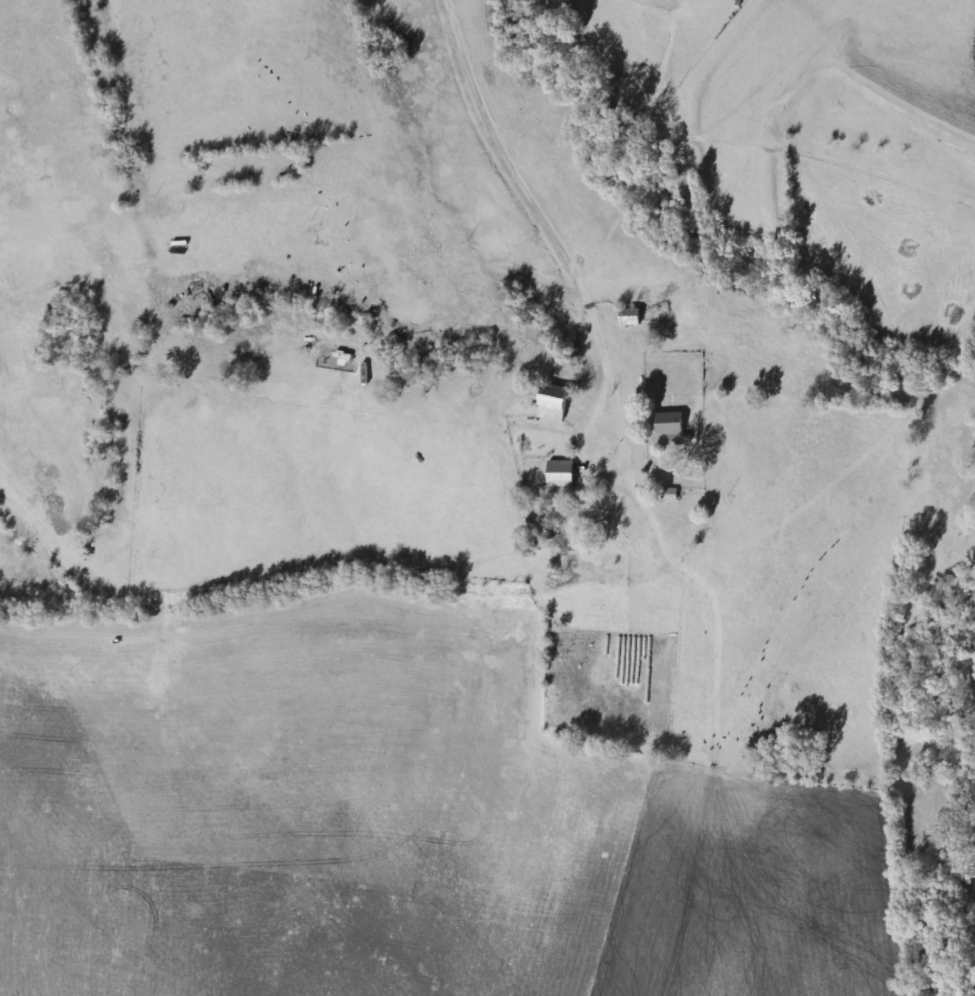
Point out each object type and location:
road: (647, 4)
road: (561, 196)
building: (631, 317)
building: (556, 403)
building: (671, 422)
building: (560, 473)

